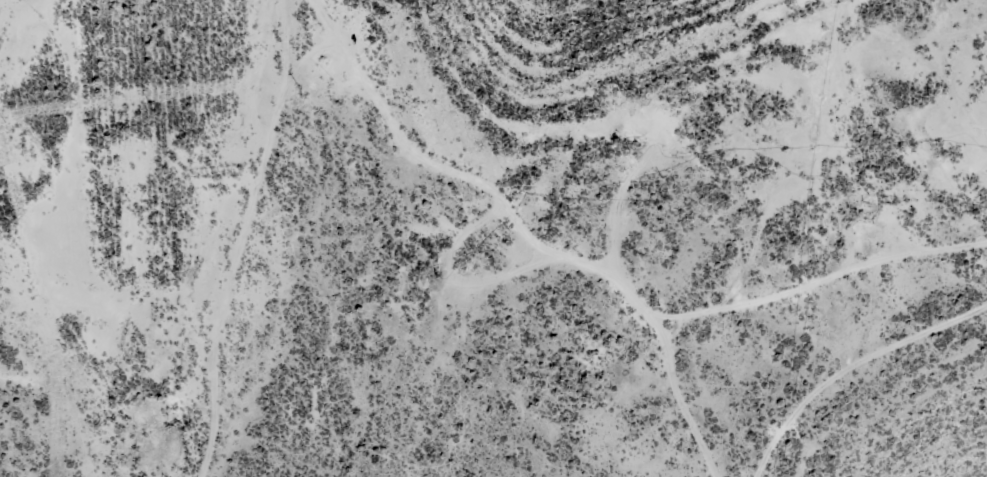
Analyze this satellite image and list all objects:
road: (220, 239)
road: (857, 380)

